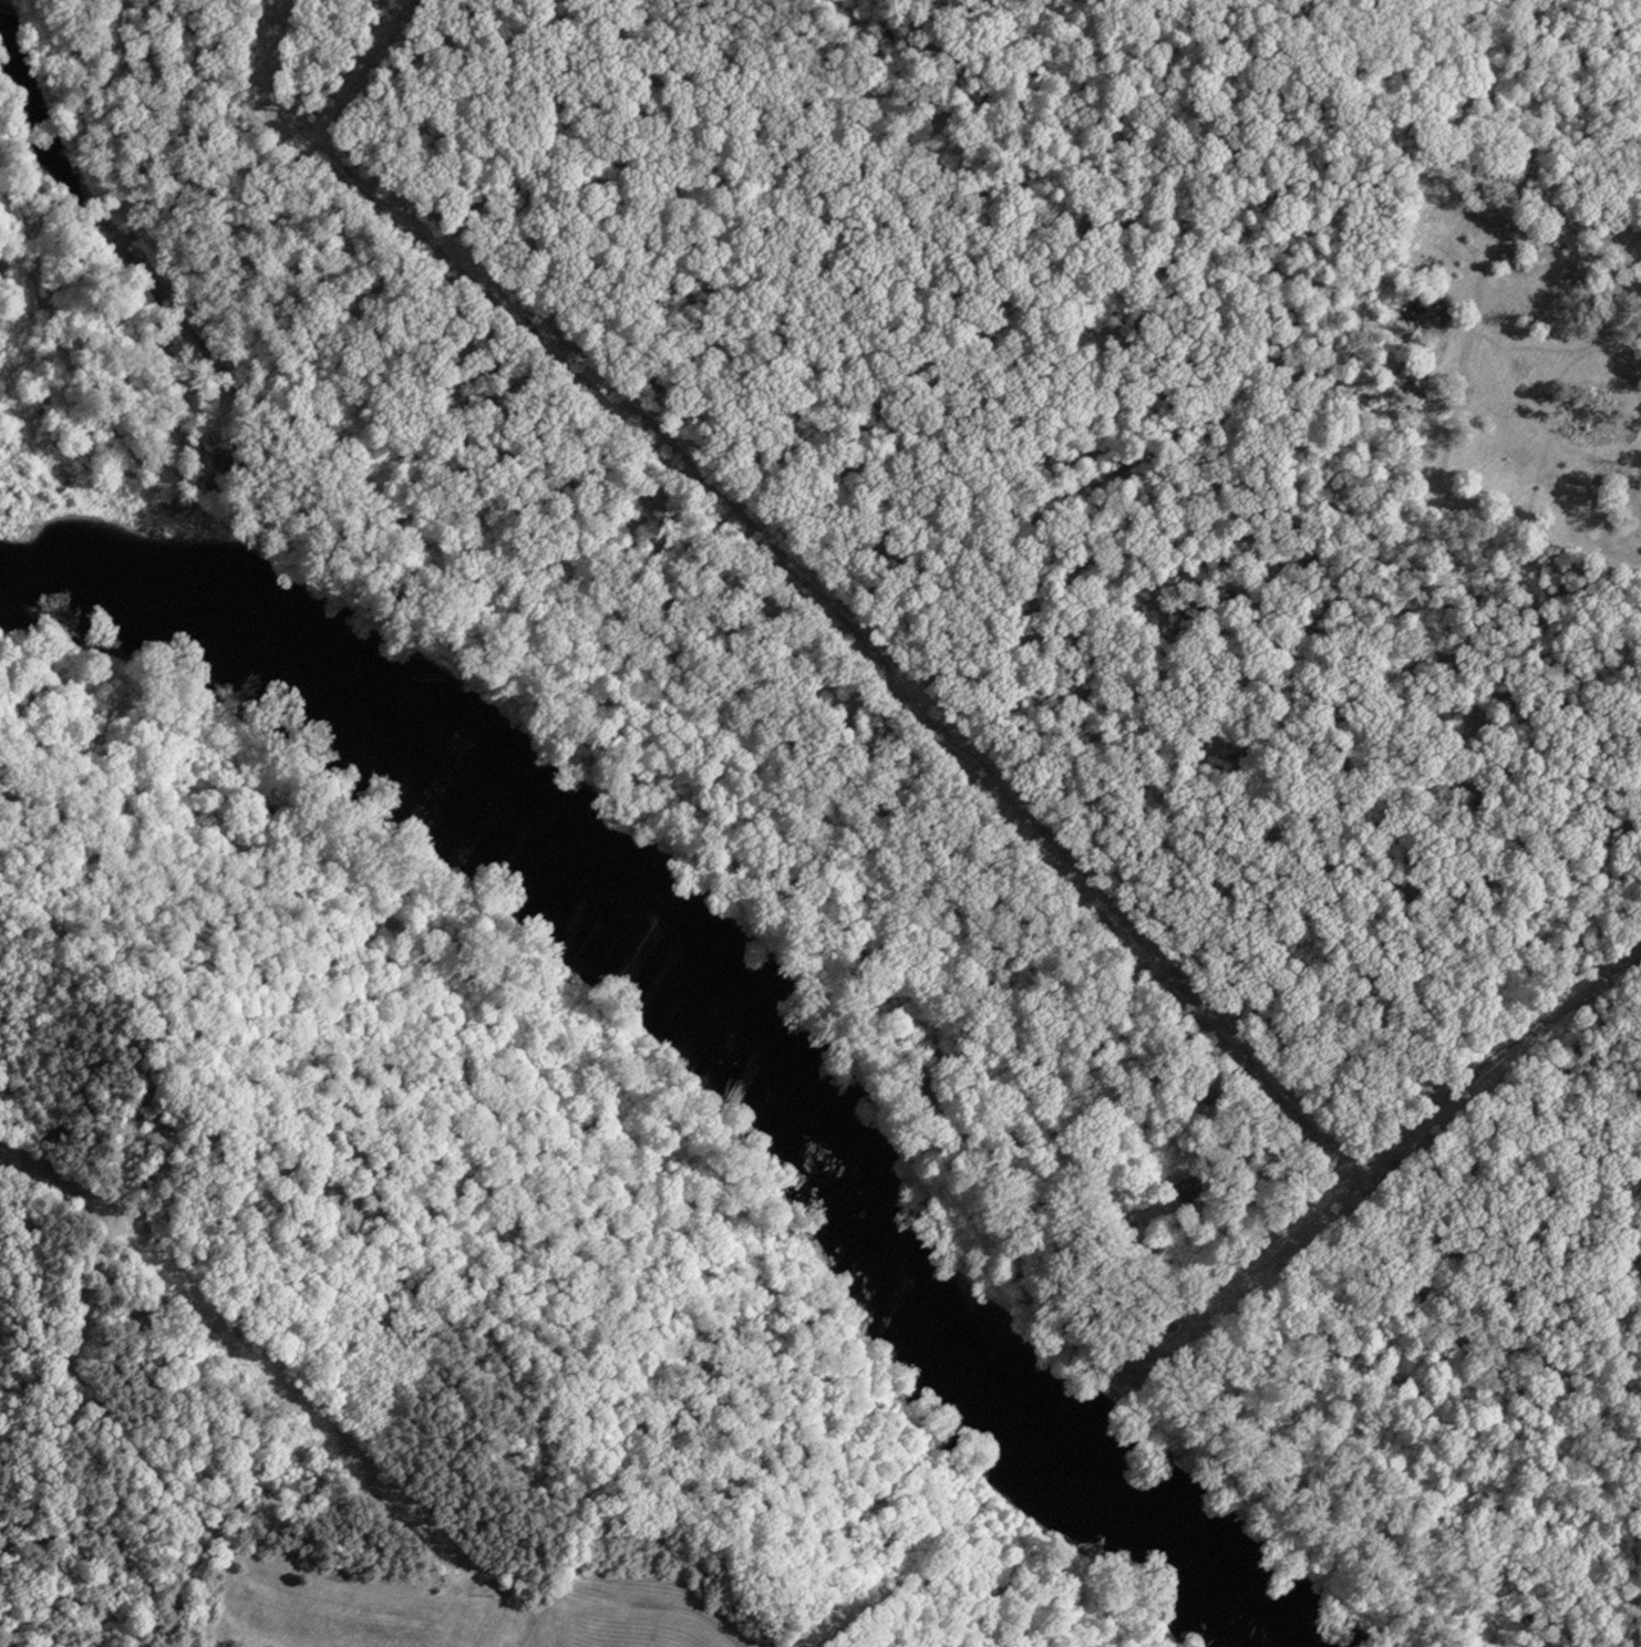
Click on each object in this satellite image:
road: (1241, 344)
crop: (1530, 404)
road: (1114, 960)
river: (672, 1005)
building: (1177, 1192)

